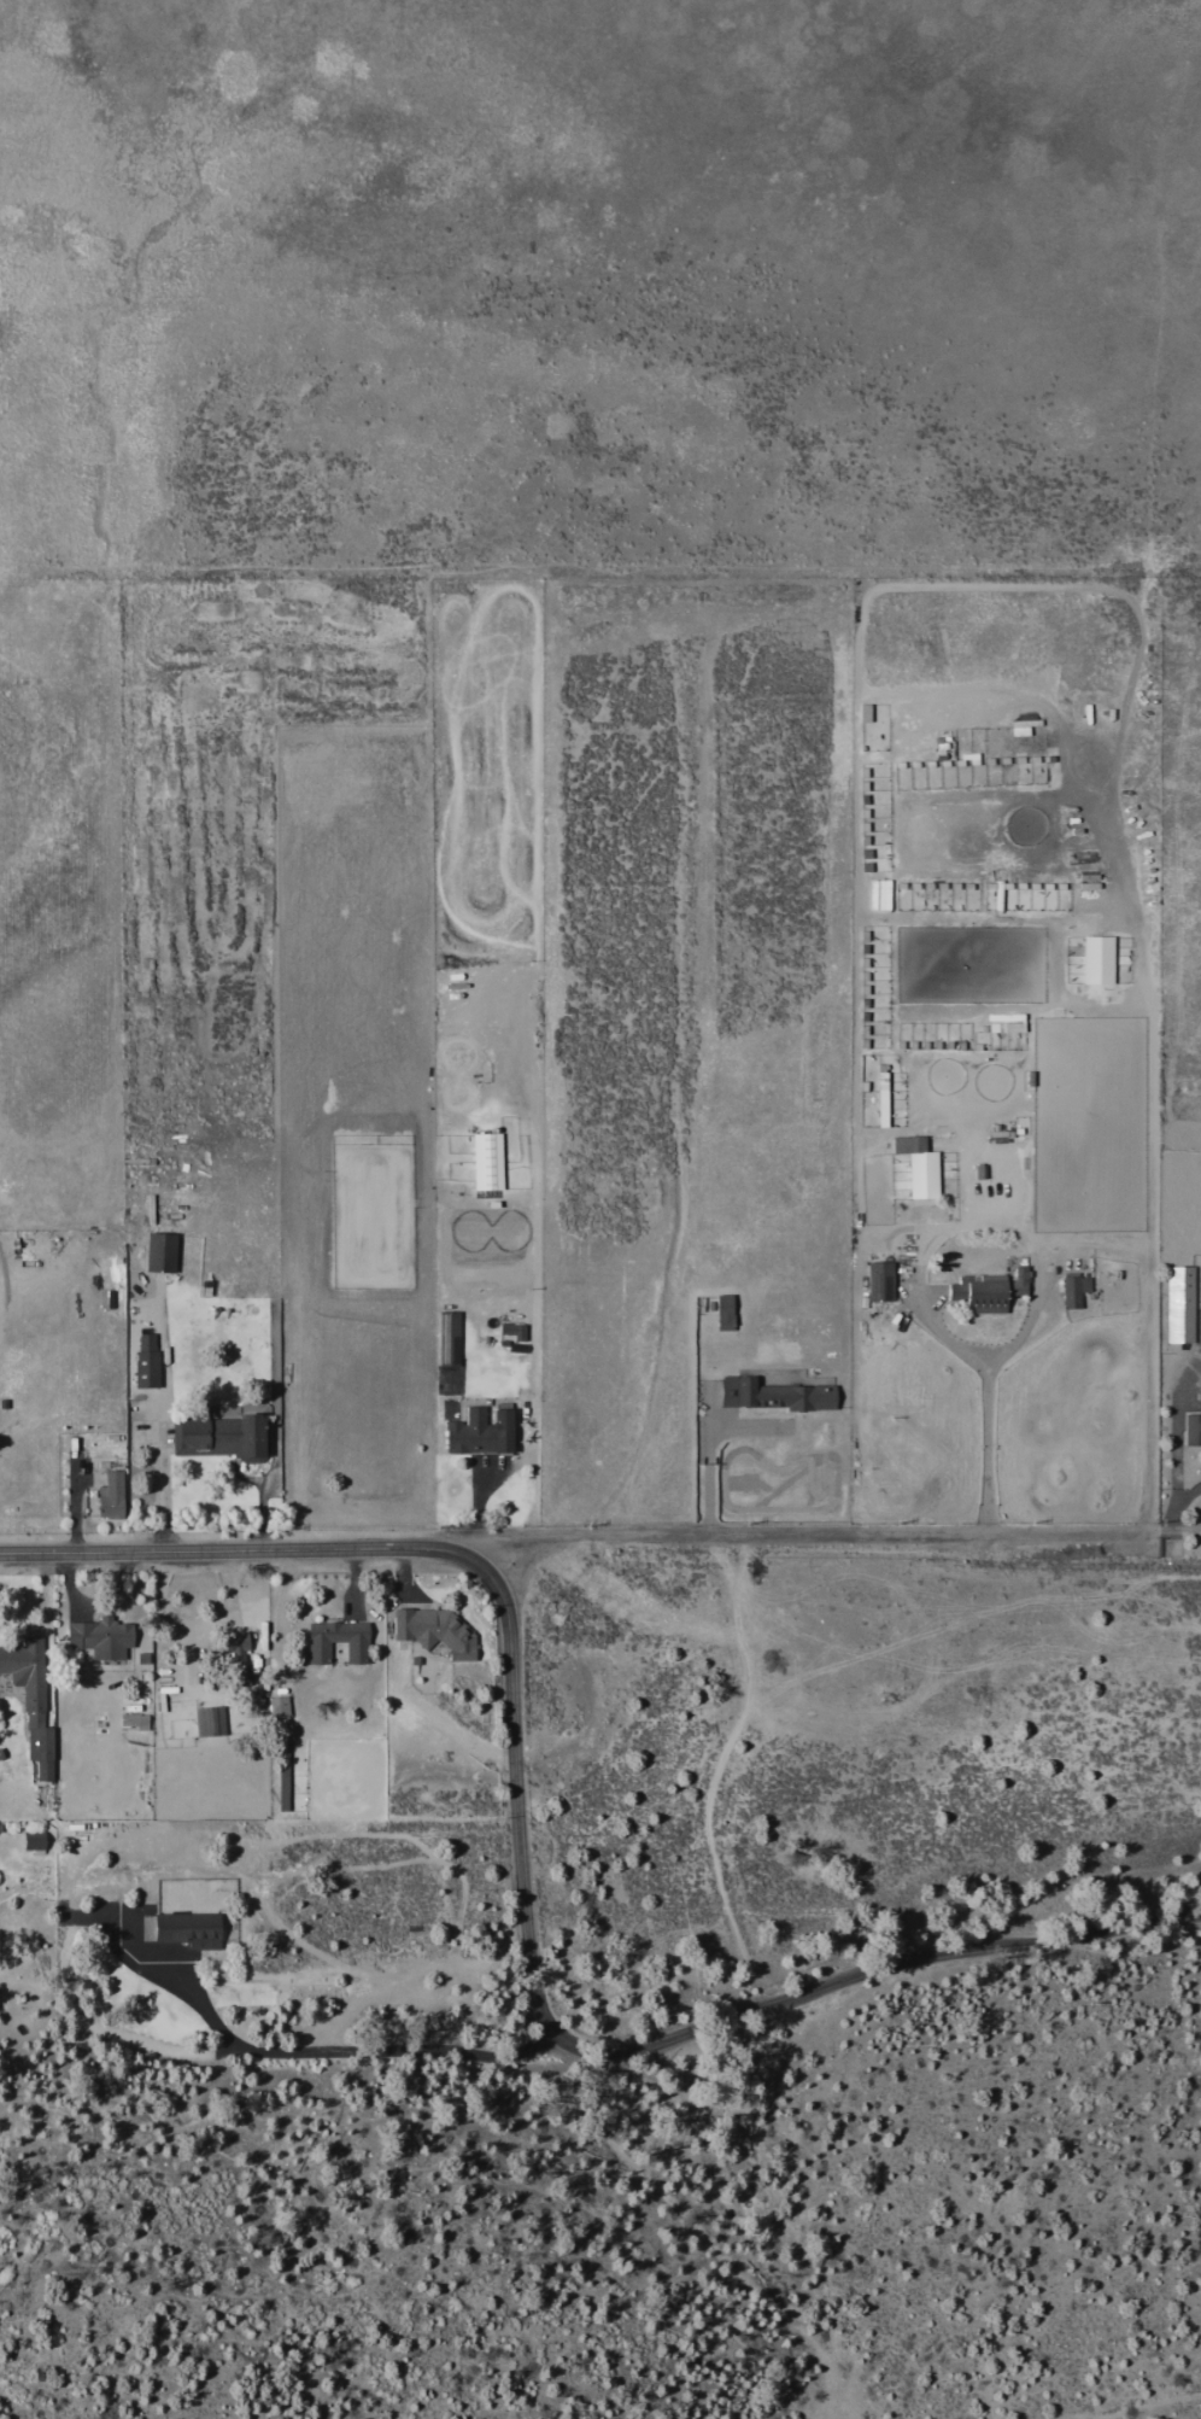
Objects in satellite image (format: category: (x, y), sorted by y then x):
building: (1094, 960)
building: (488, 1161)
building: (915, 1167)
building: (162, 1251)
road: (1038, 1260)
building: (875, 1281)
building: (1181, 1285)
building: (1071, 1290)
building: (985, 1291)
building: (514, 1330)
building: (147, 1360)
road: (532, 1369)
building: (769, 1395)
road: (162, 1419)
road: (1176, 1420)
building: (482, 1432)
building: (225, 1437)
road: (1187, 1492)
building: (112, 1495)
road: (1172, 1519)
road: (815, 1535)
road: (1179, 1535)
road: (241, 1550)
building: (435, 1630)
building: (101, 1636)
building: (339, 1640)
building: (238, 1647)
building: (30, 1690)
building: (279, 1705)
building: (210, 1720)
building: (88, 1723)
building: (283, 1783)
building: (35, 1840)
building: (189, 1929)
road: (644, 2046)
road: (350, 2050)
road: (697, 2248)

